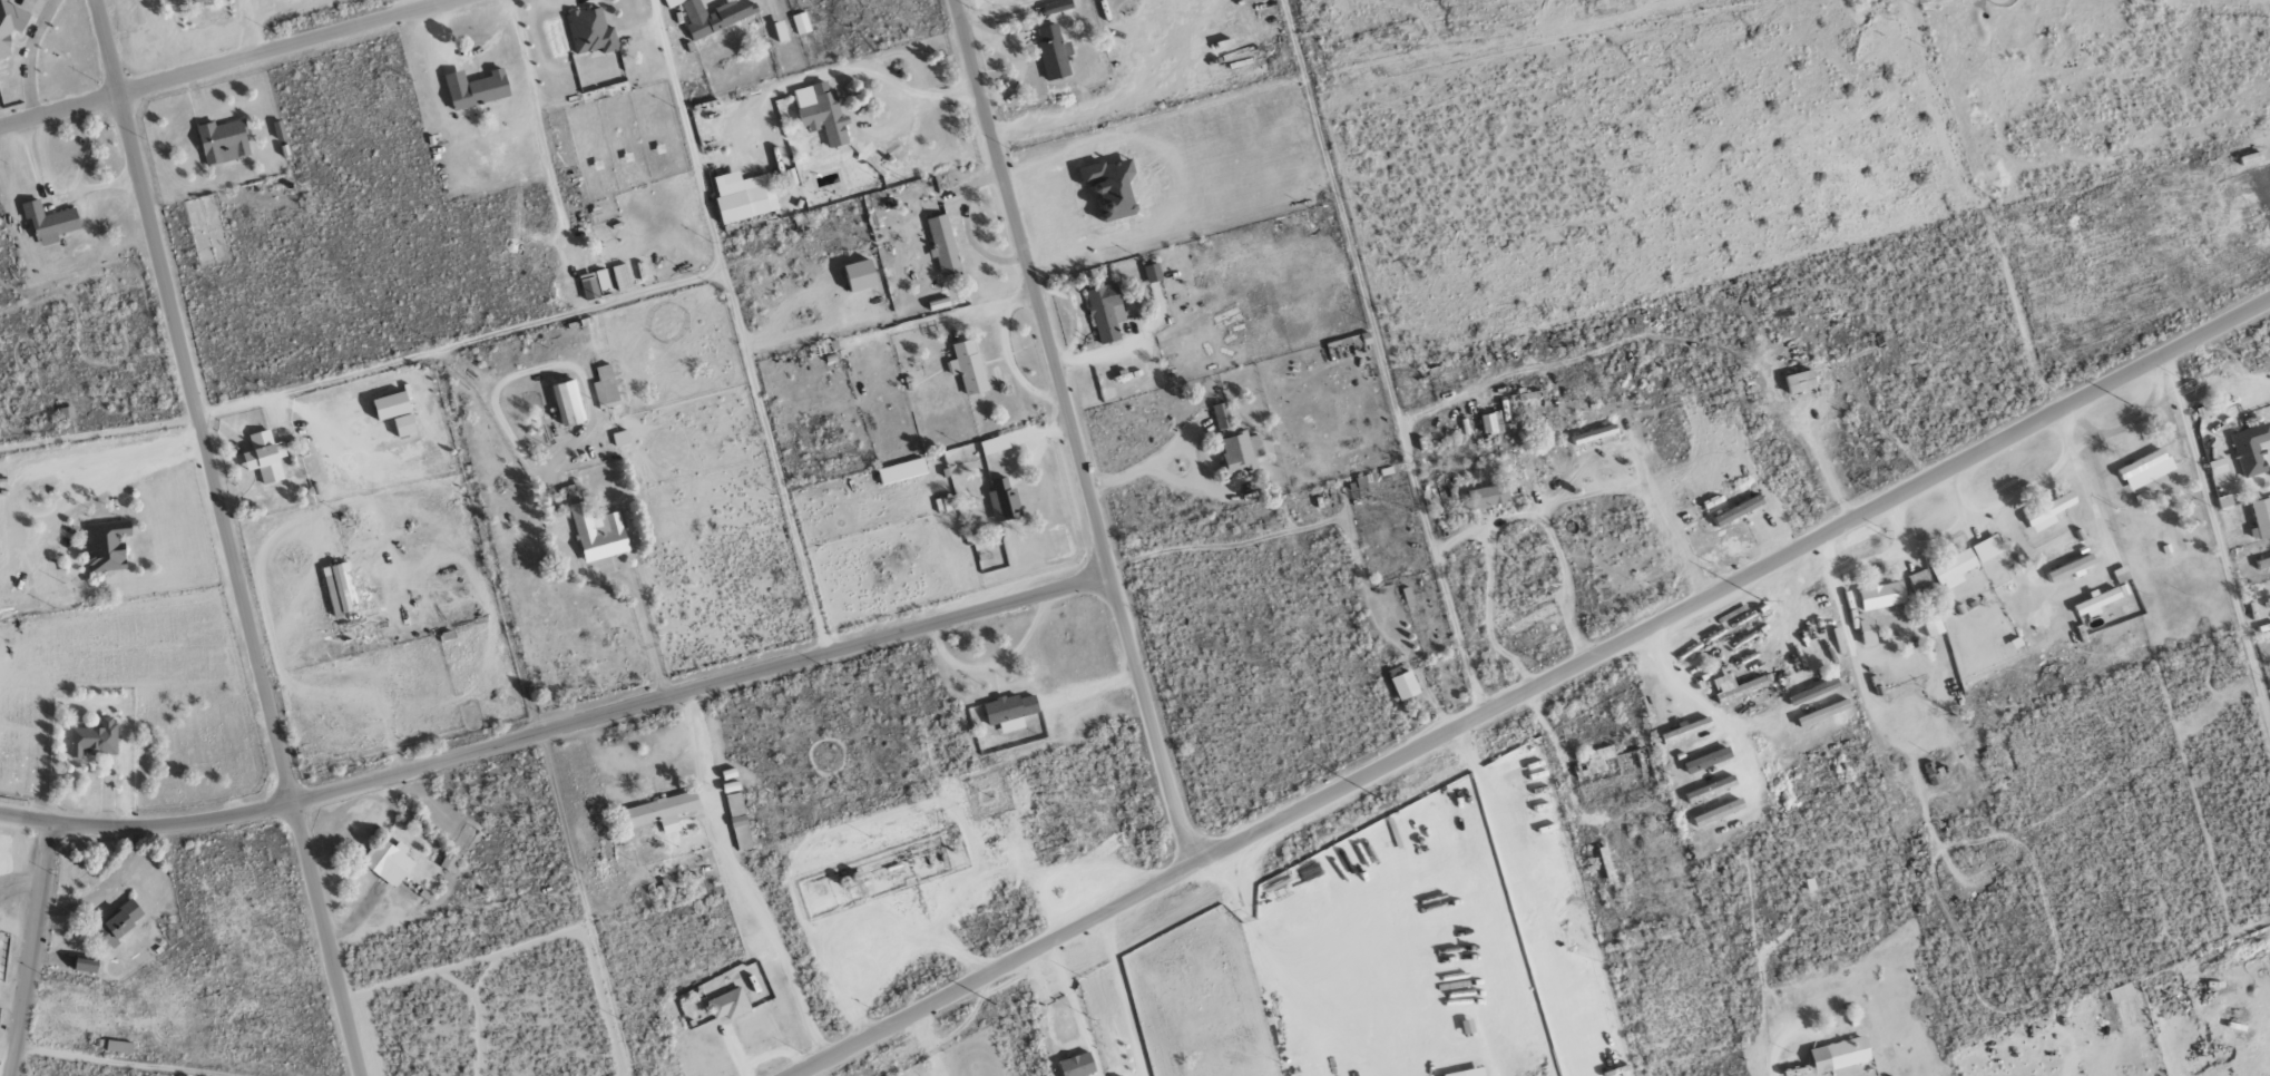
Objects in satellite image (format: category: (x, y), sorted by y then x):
building: (187, 1)
building: (673, 2)
building: (1056, 7)
road: (997, 10)
building: (712, 16)
building: (800, 23)
building: (9, 27)
building: (589, 31)
building: (1053, 52)
road: (229, 63)
building: (476, 89)
road: (874, 97)
building: (825, 116)
building: (223, 141)
building: (1110, 187)
building: (743, 196)
building: (49, 222)
building: (942, 243)
building: (1152, 273)
building: (595, 285)
building: (1103, 312)
building: (967, 366)
building: (1799, 381)
building: (605, 388)
building: (567, 403)
building: (390, 405)
building: (66, 412)
building: (1221, 415)
building: (1491, 423)
building: (404, 425)
road: (1070, 436)
building: (620, 438)
building: (994, 444)
building: (2250, 449)
building: (1240, 452)
building: (264, 457)
road: (1823, 467)
building: (2145, 469)
building: (901, 471)
building: (1488, 496)
building: (1002, 500)
building: (2048, 511)
building: (2260, 518)
building: (597, 532)
road: (227, 538)
building: (106, 546)
building: (1987, 548)
building: (1953, 568)
building: (2071, 568)
building: (2121, 574)
building: (1918, 580)
building: (342, 598)
building: (2096, 603)
road: (637, 605)
building: (1876, 606)
road: (968, 618)
building: (1931, 625)
building: (1403, 684)
building: (1734, 686)
road: (1534, 688)
building: (1009, 711)
building: (1823, 712)
building: (1685, 730)
building: (94, 738)
building: (1706, 760)
building: (1595, 761)
road: (415, 767)
building: (1710, 789)
building: (661, 811)
building: (1718, 812)
building: (737, 820)
building: (388, 861)
building: (449, 862)
road: (744, 882)
building: (119, 921)
road: (31, 949)
building: (85, 965)
building: (2120, 991)
building: (727, 1004)
road: (1075, 1009)
road: (1049, 1015)
building: (119, 1046)
building: (1839, 1054)
building: (1076, 1065)
road: (820, 1070)
building: (1467, 1072)
road: (2017, 1074)

